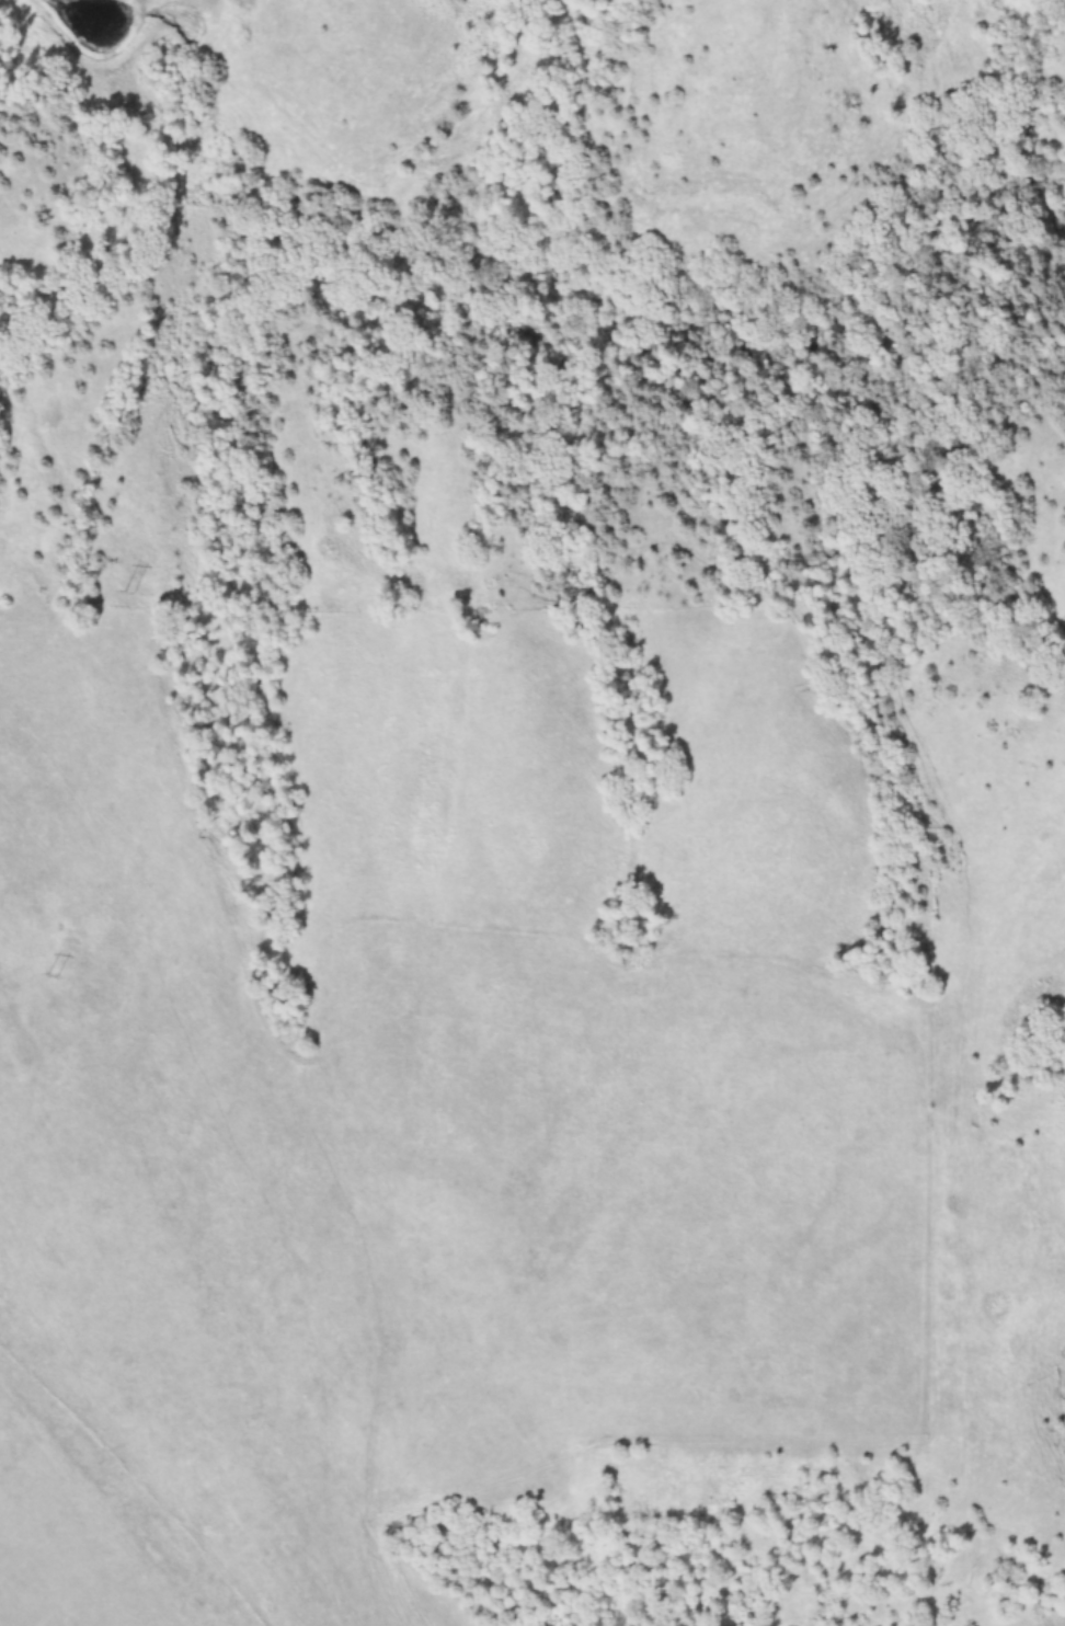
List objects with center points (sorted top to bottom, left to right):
power tower: (130, 589)
power tower: (53, 973)

